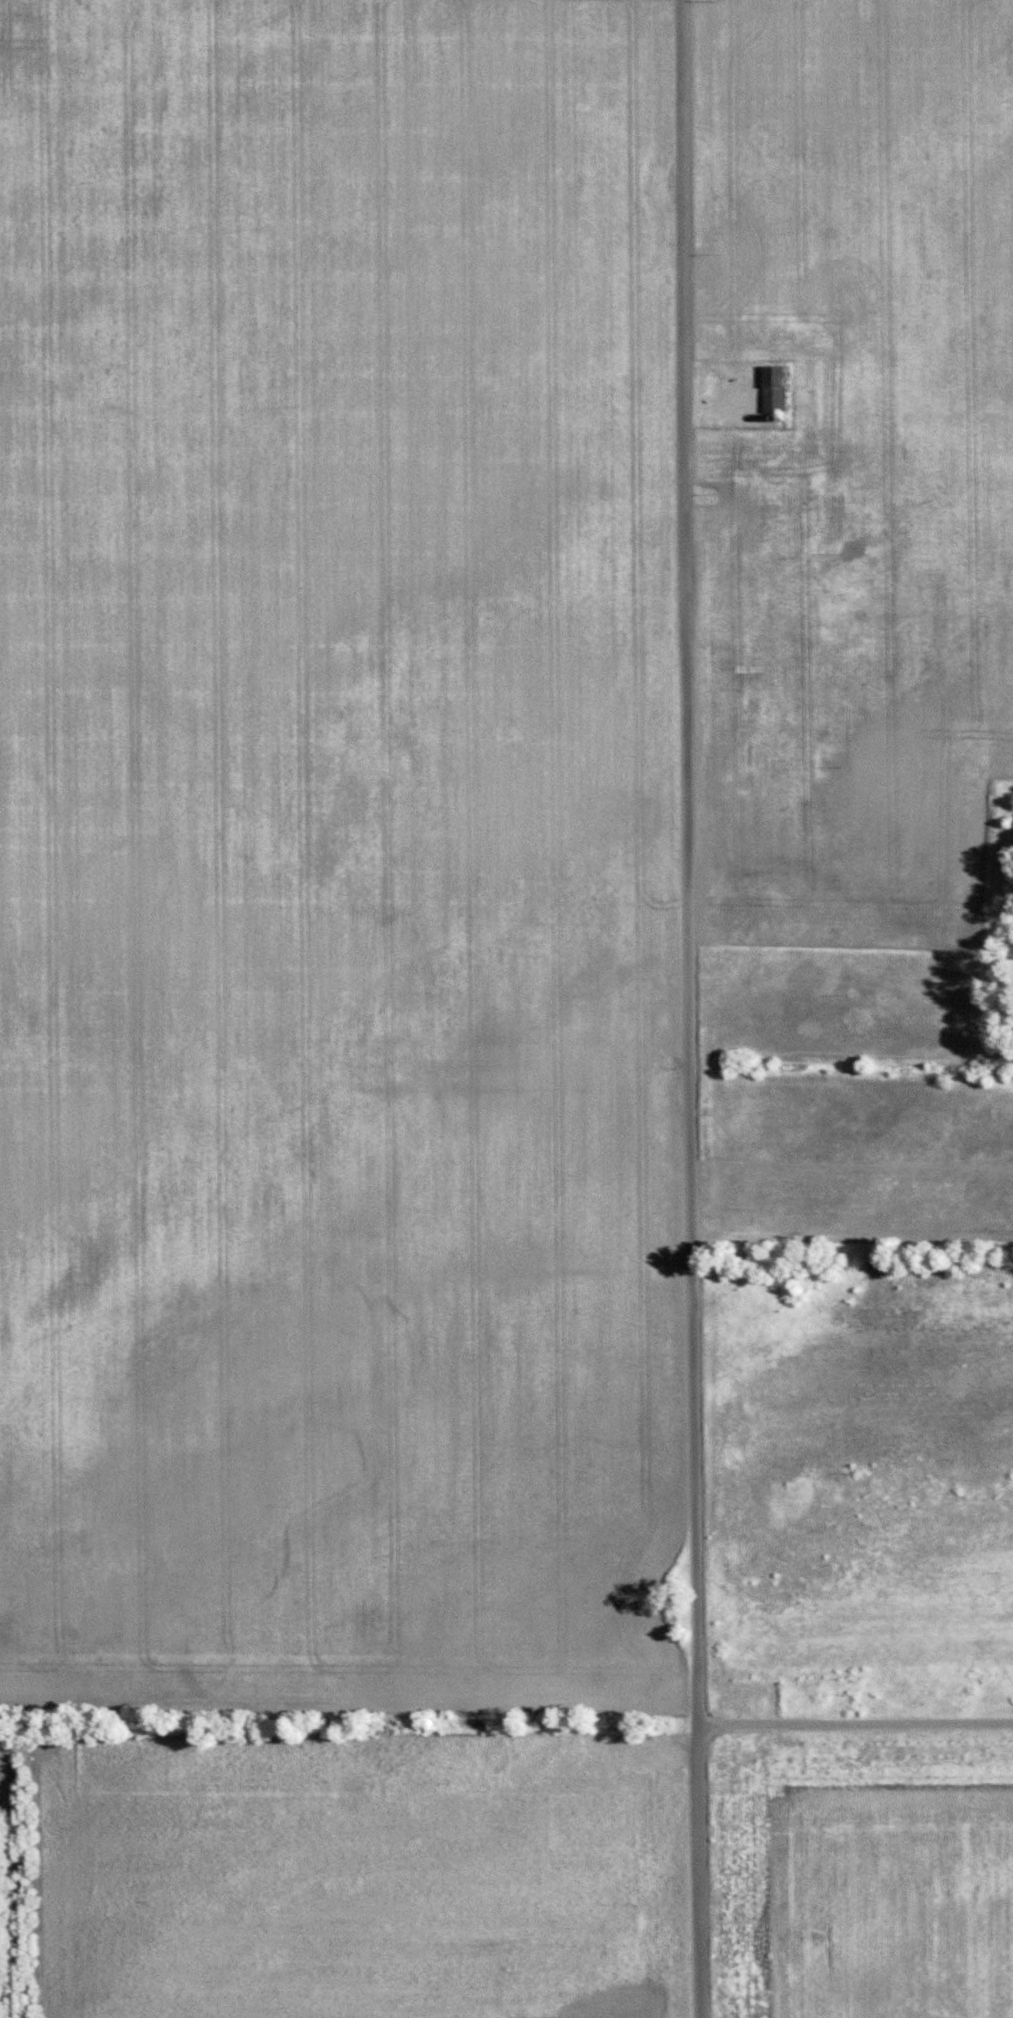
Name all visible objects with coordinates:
building: (774, 388)
road: (695, 1008)
road: (858, 1722)

